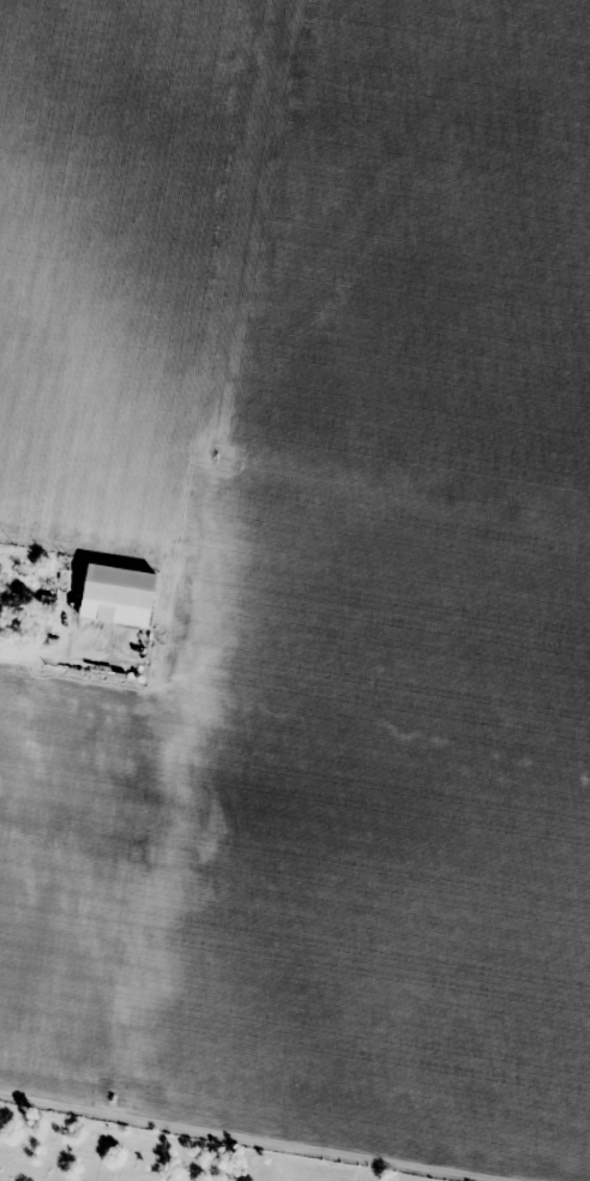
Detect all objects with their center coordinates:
road: (277, 1134)

